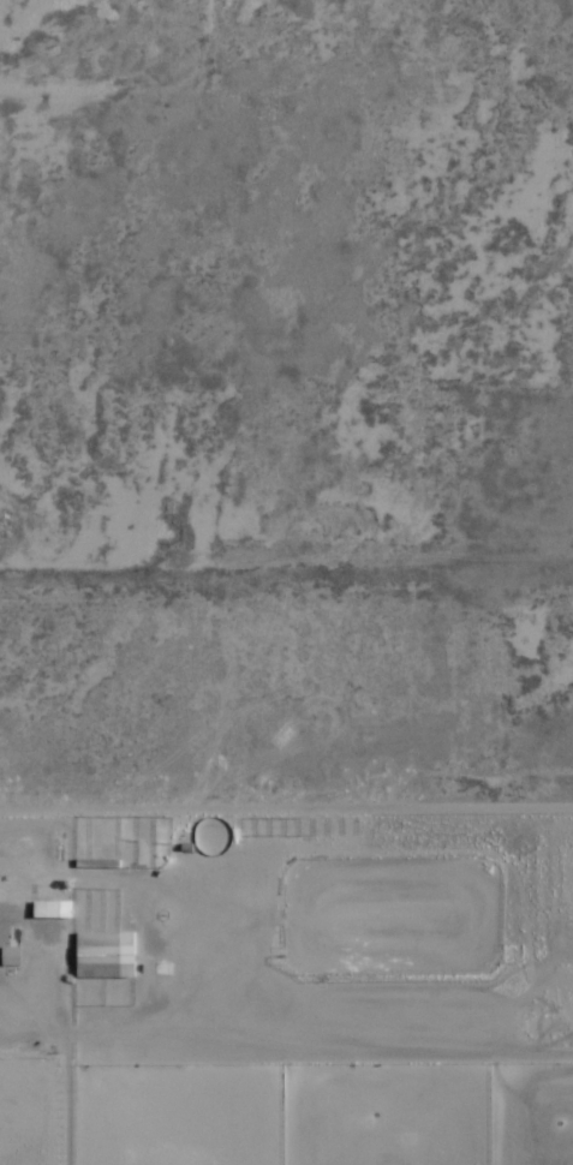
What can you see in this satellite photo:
building: (53, 909)
building: (106, 955)

